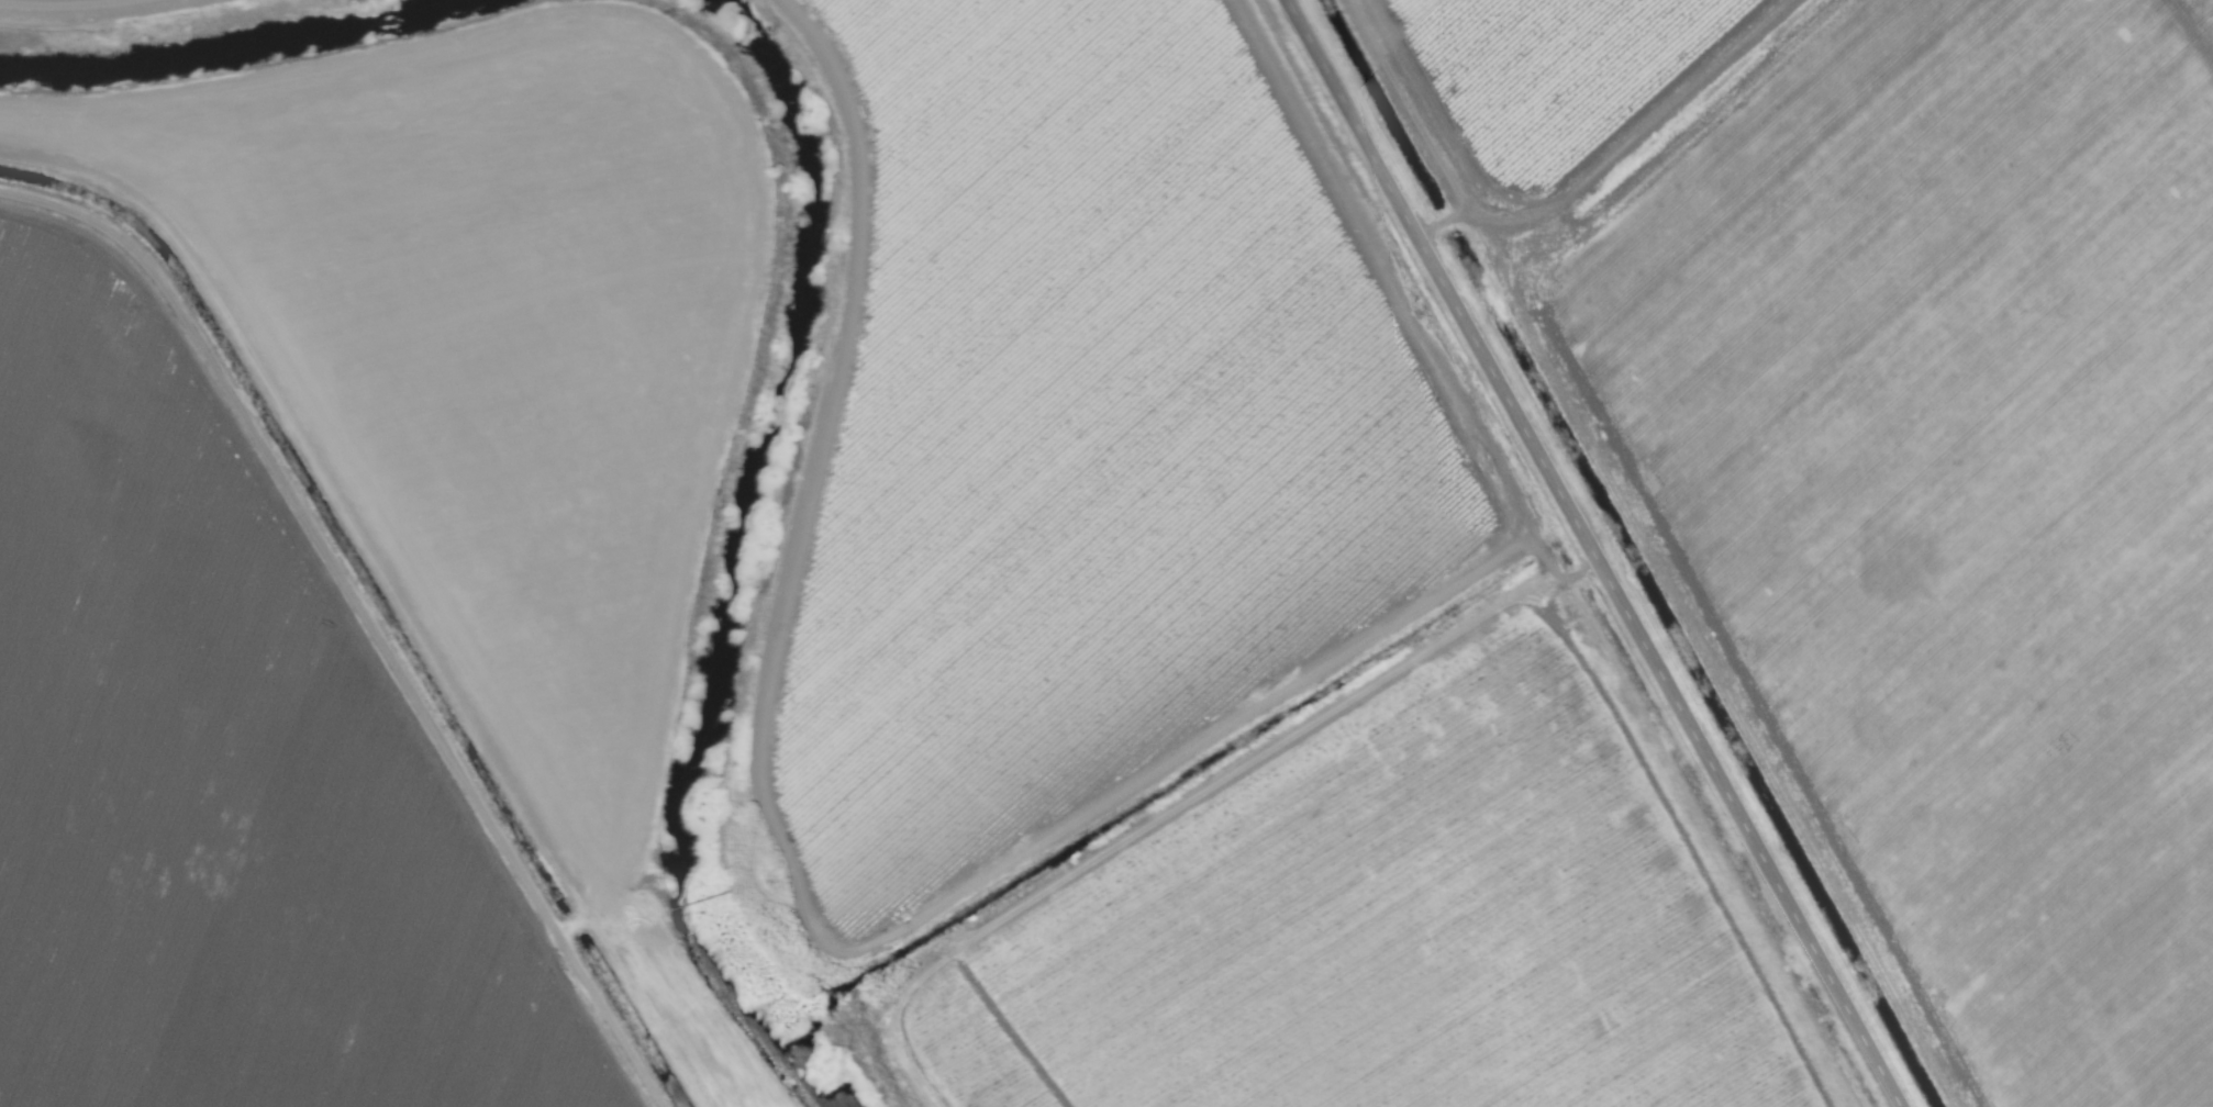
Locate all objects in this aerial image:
crop: (190, 34)
road: (1599, 553)
crop: (1214, 594)

